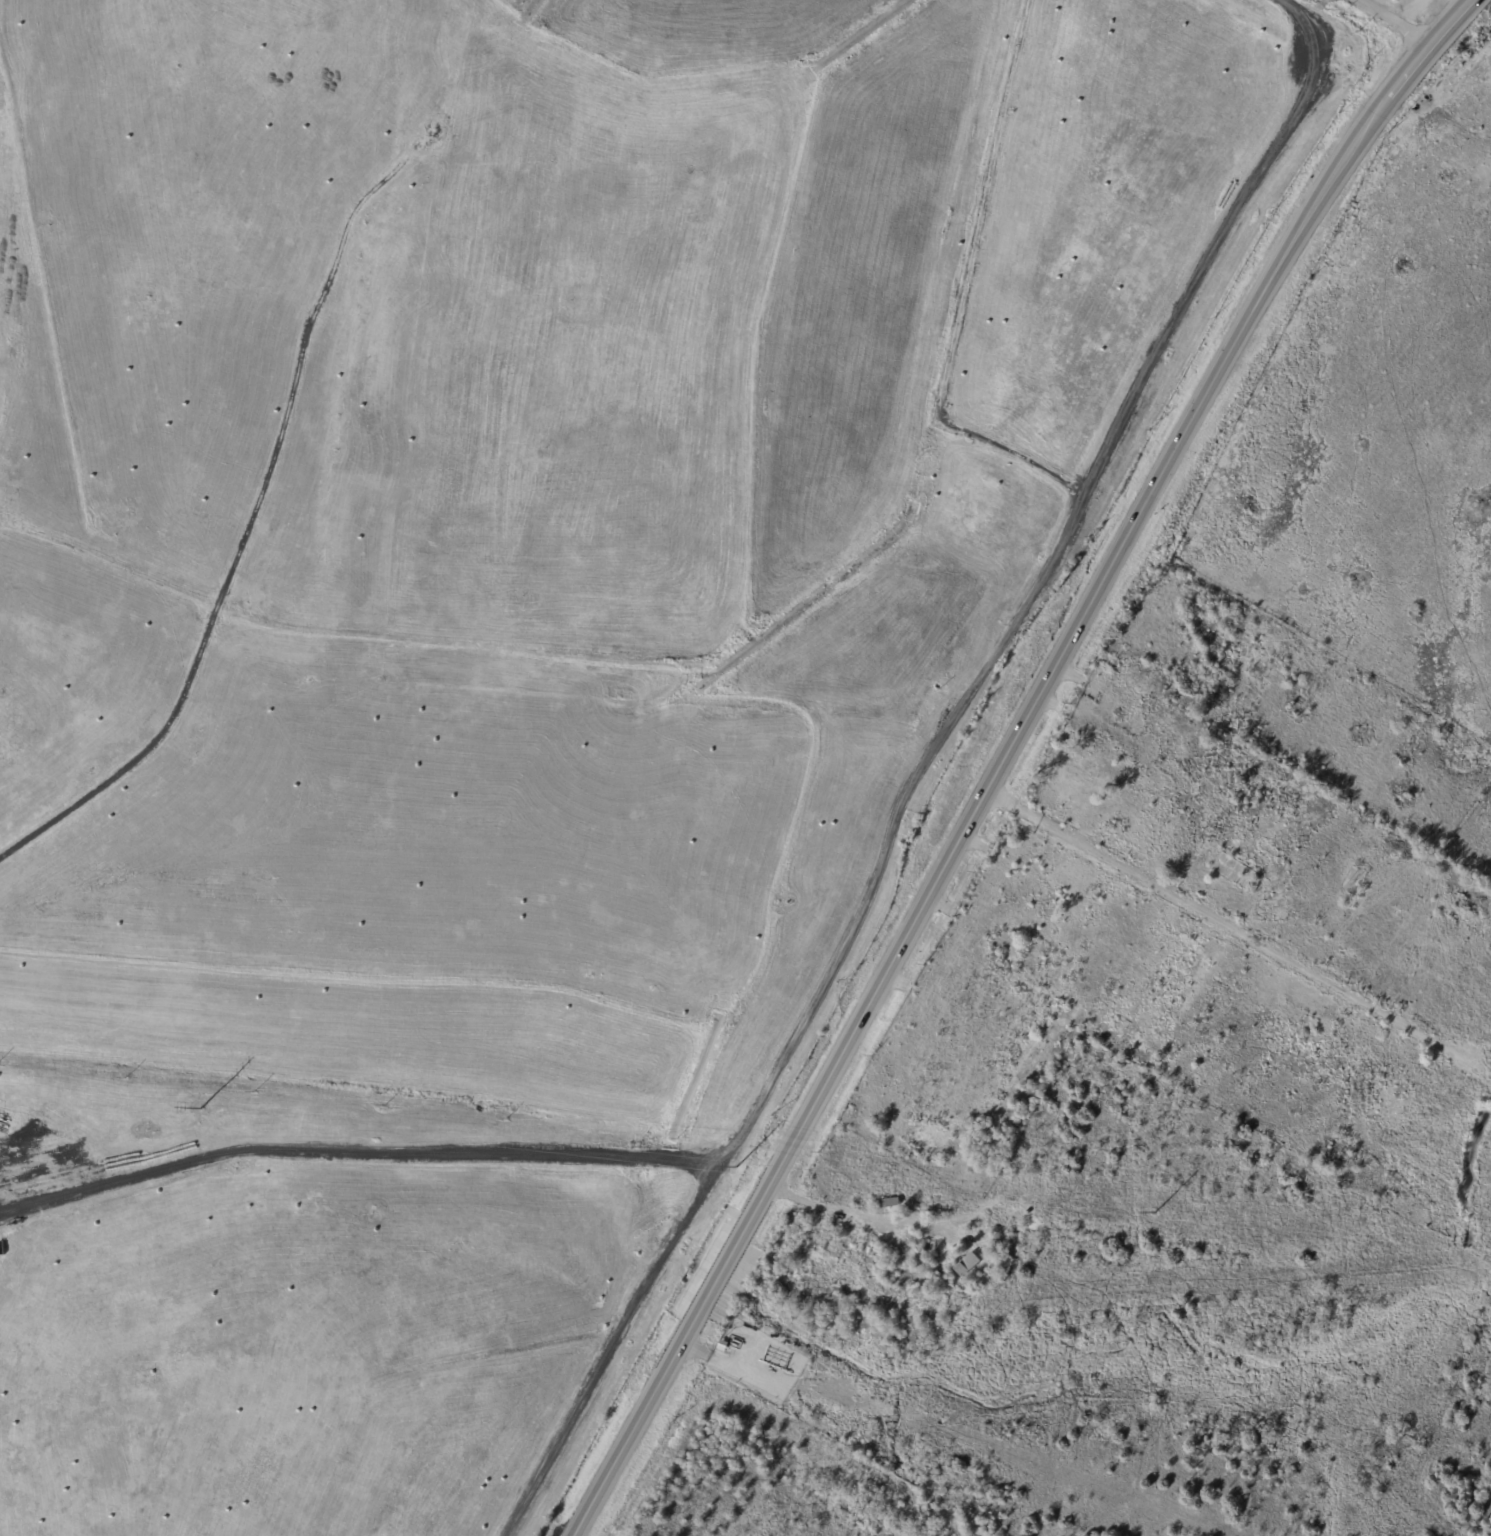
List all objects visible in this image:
building: (1395, 1)
road: (1395, 19)
road: (1424, 44)
landfill: (506, 644)
road: (1063, 651)
road: (883, 854)
road: (1240, 930)
power tower: (201, 1109)
road: (354, 1158)
power tower: (736, 1168)
building: (889, 1203)
road: (851, 1213)
power tower: (1153, 1214)
road: (1485, 1239)
building: (925, 1244)
building: (967, 1264)
building: (854, 1265)
road: (723, 1270)
road: (634, 1430)

